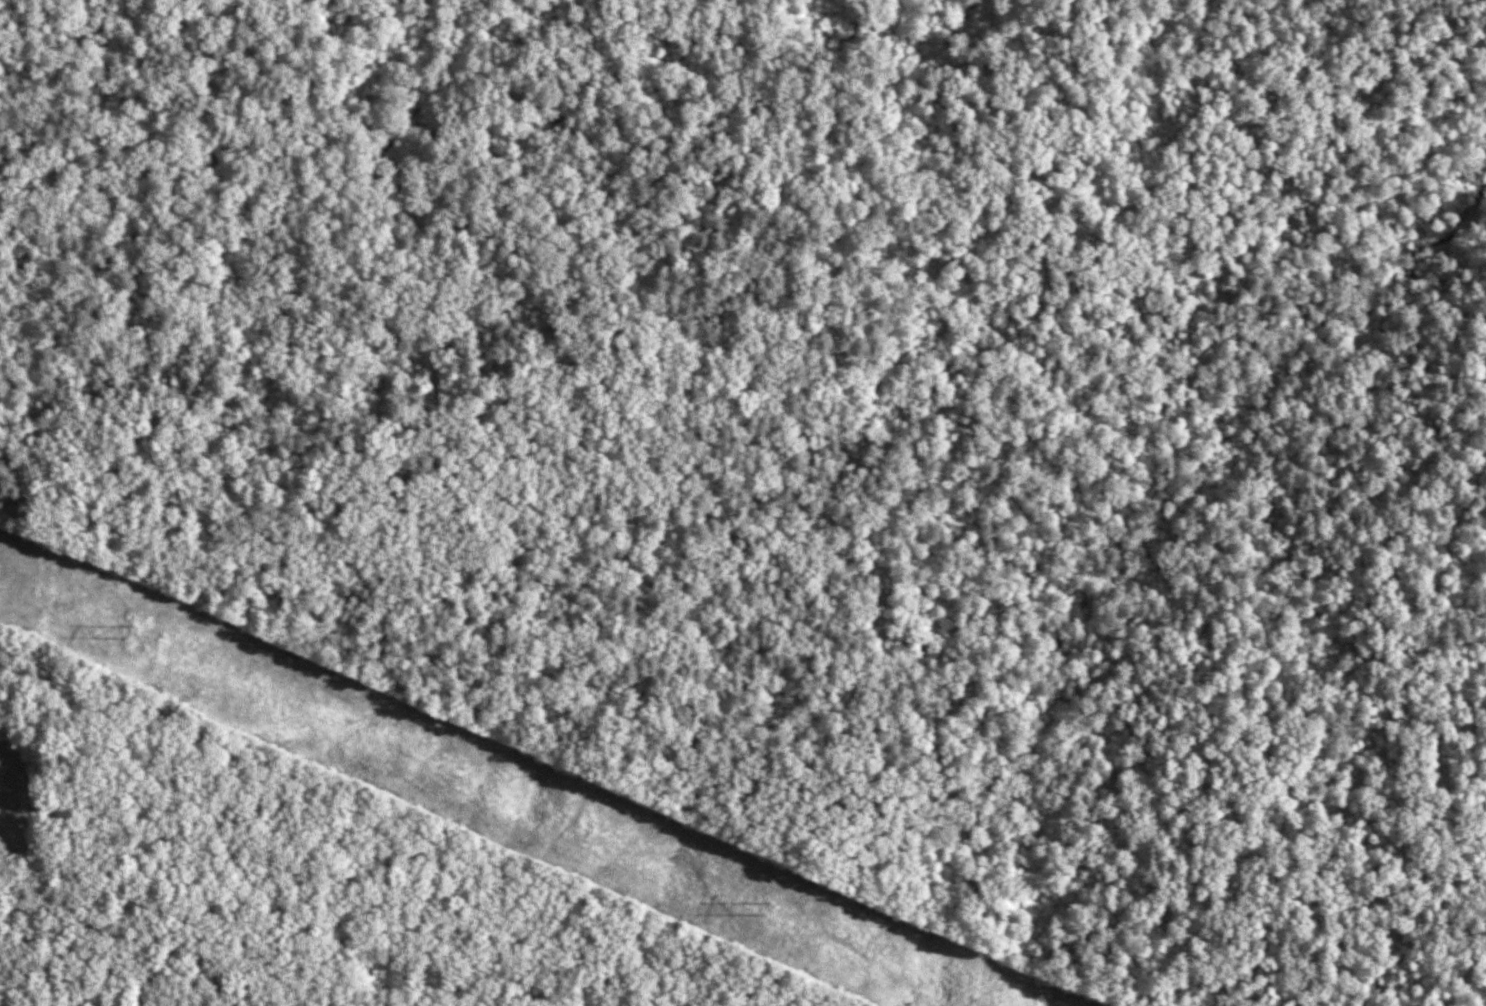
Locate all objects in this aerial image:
power tower: (125, 628)
power tower: (761, 905)

